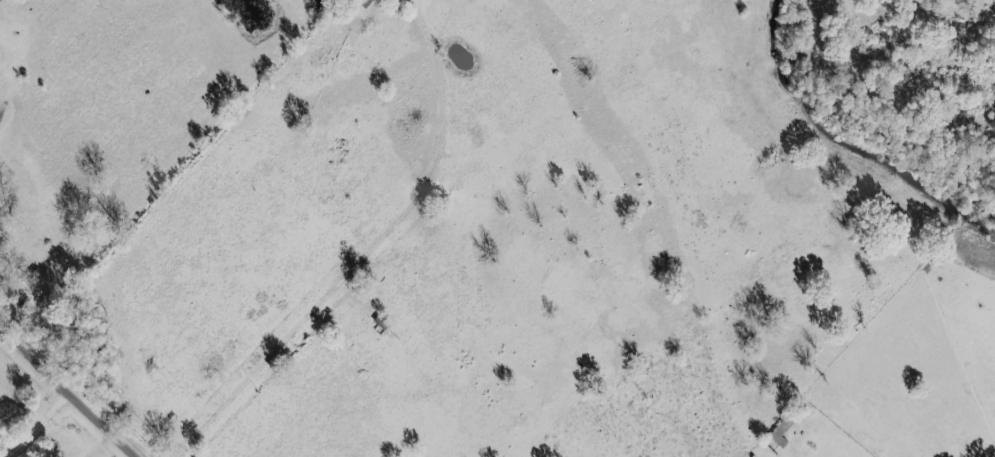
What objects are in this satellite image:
river: (848, 140)
road: (356, 277)
road: (68, 391)
road: (44, 426)
building: (781, 432)

